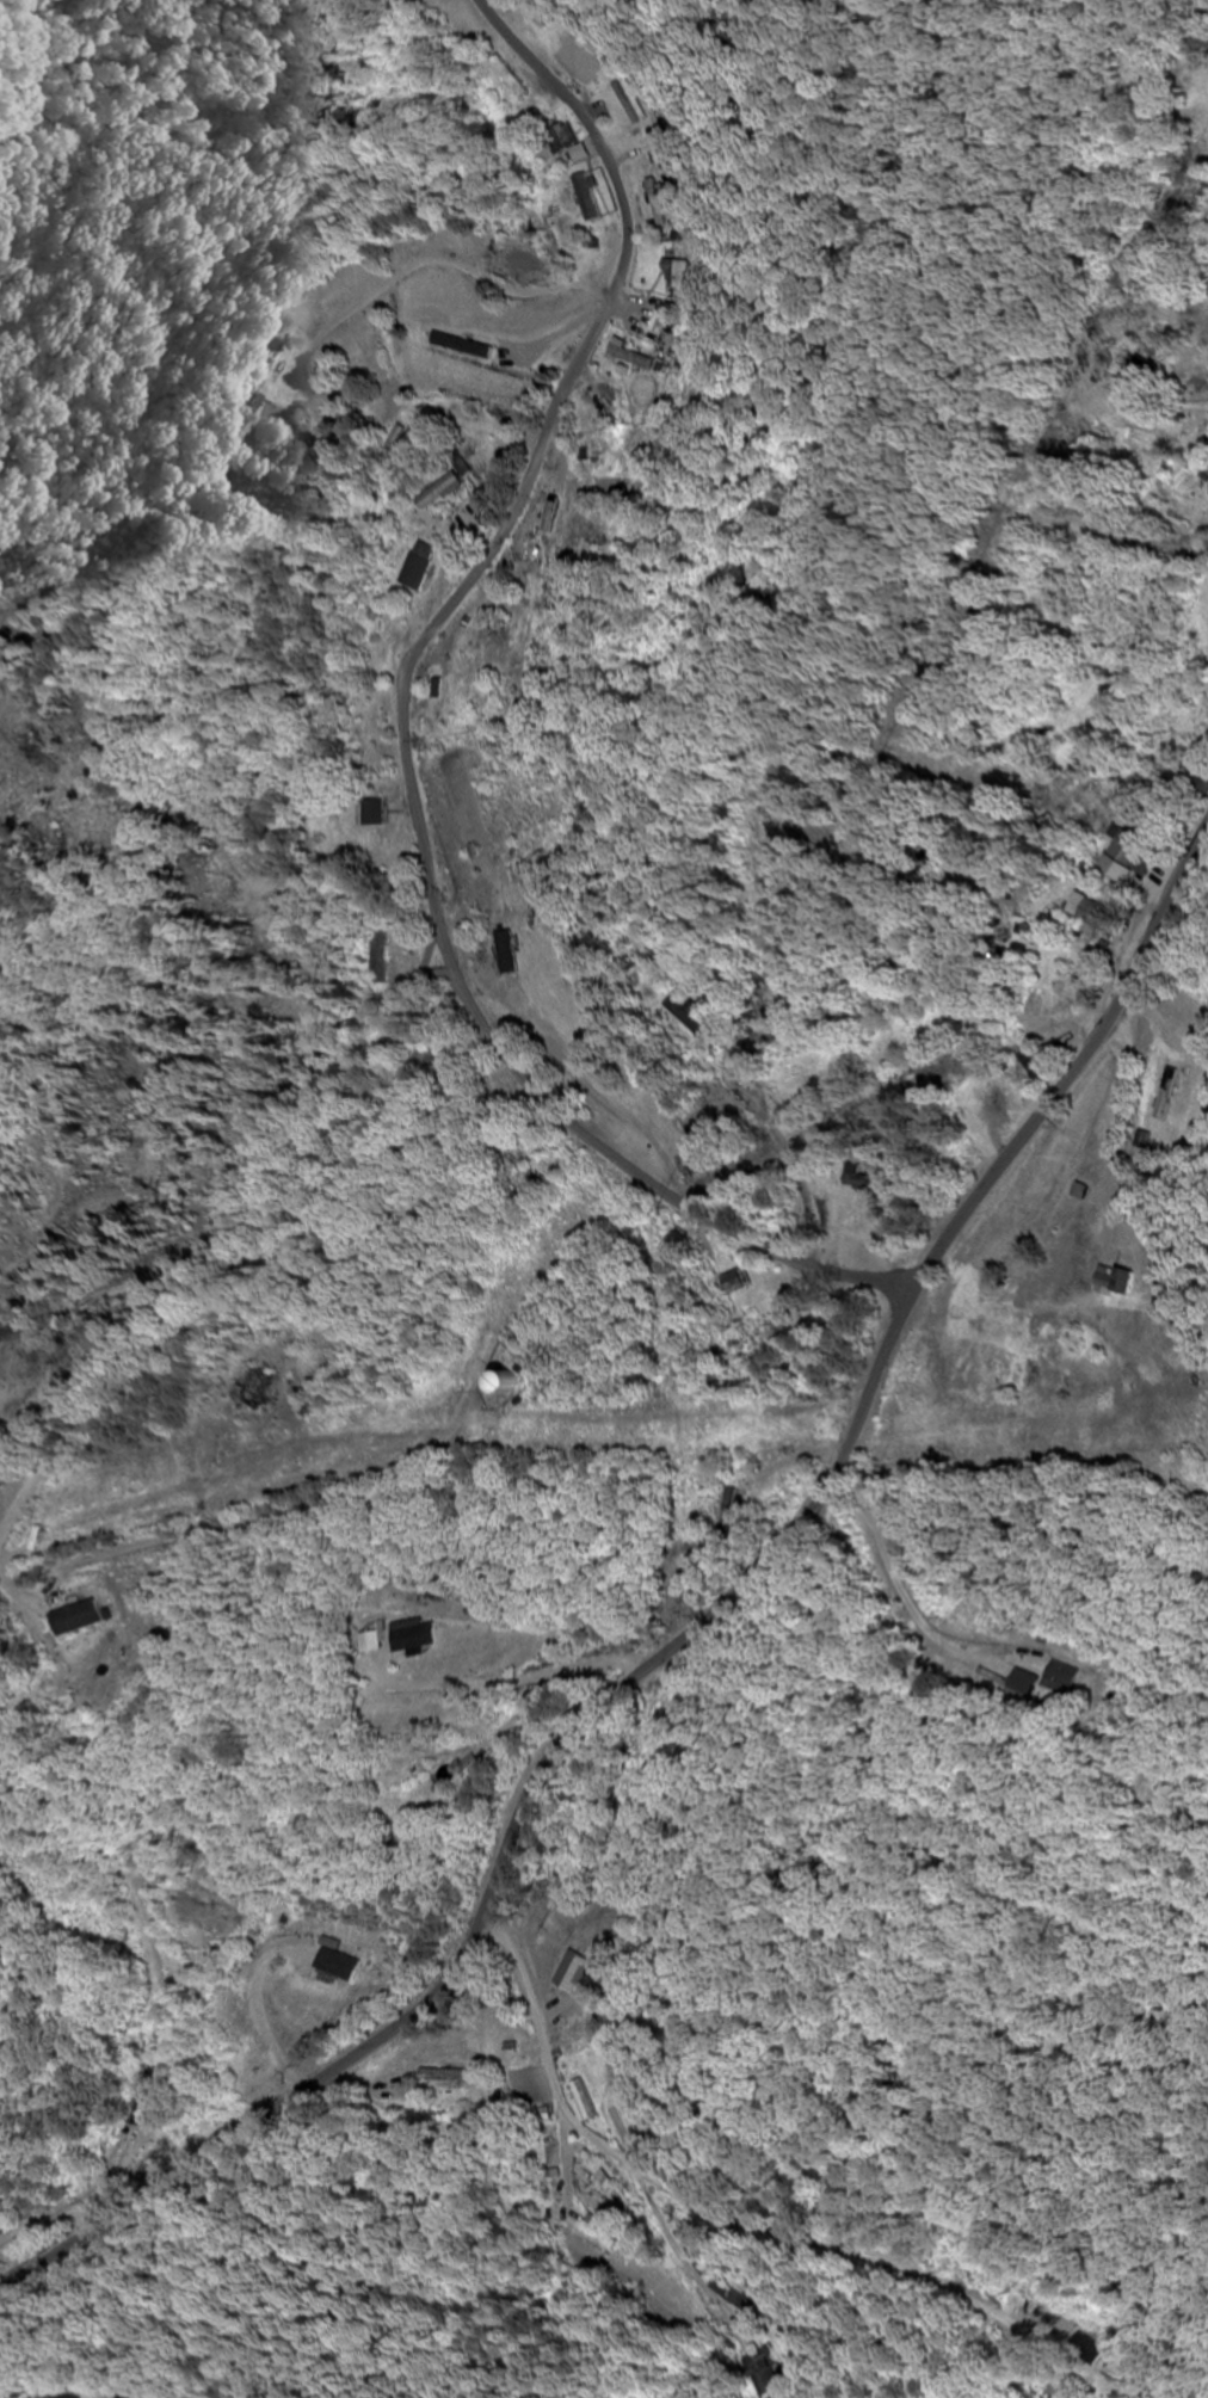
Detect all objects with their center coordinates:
building: (513, 78)
building: (642, 101)
building: (565, 138)
road: (808, 181)
building: (588, 198)
building: (666, 203)
building: (686, 275)
building: (668, 347)
building: (633, 358)
building: (443, 494)
building: (421, 567)
road: (616, 685)
road: (412, 726)
building: (374, 814)
building: (1129, 849)
building: (1090, 912)
road: (430, 953)
building: (510, 953)
road: (679, 1073)
building: (994, 1098)
building: (1110, 1105)
road: (1197, 1190)
road: (247, 1269)
building: (1052, 1277)
building: (1124, 1282)
building: (500, 1382)
building: (260, 1388)
road: (907, 1567)
building: (76, 1619)
building: (415, 1636)
building: (370, 1642)
road: (689, 1642)
building: (1065, 1678)
building: (1024, 1683)
road: (301, 1755)
building: (479, 1765)
building: (407, 1777)
building: (334, 1966)
building: (446, 2077)
building: (588, 2102)
road: (729, 2212)
building: (762, 2301)

